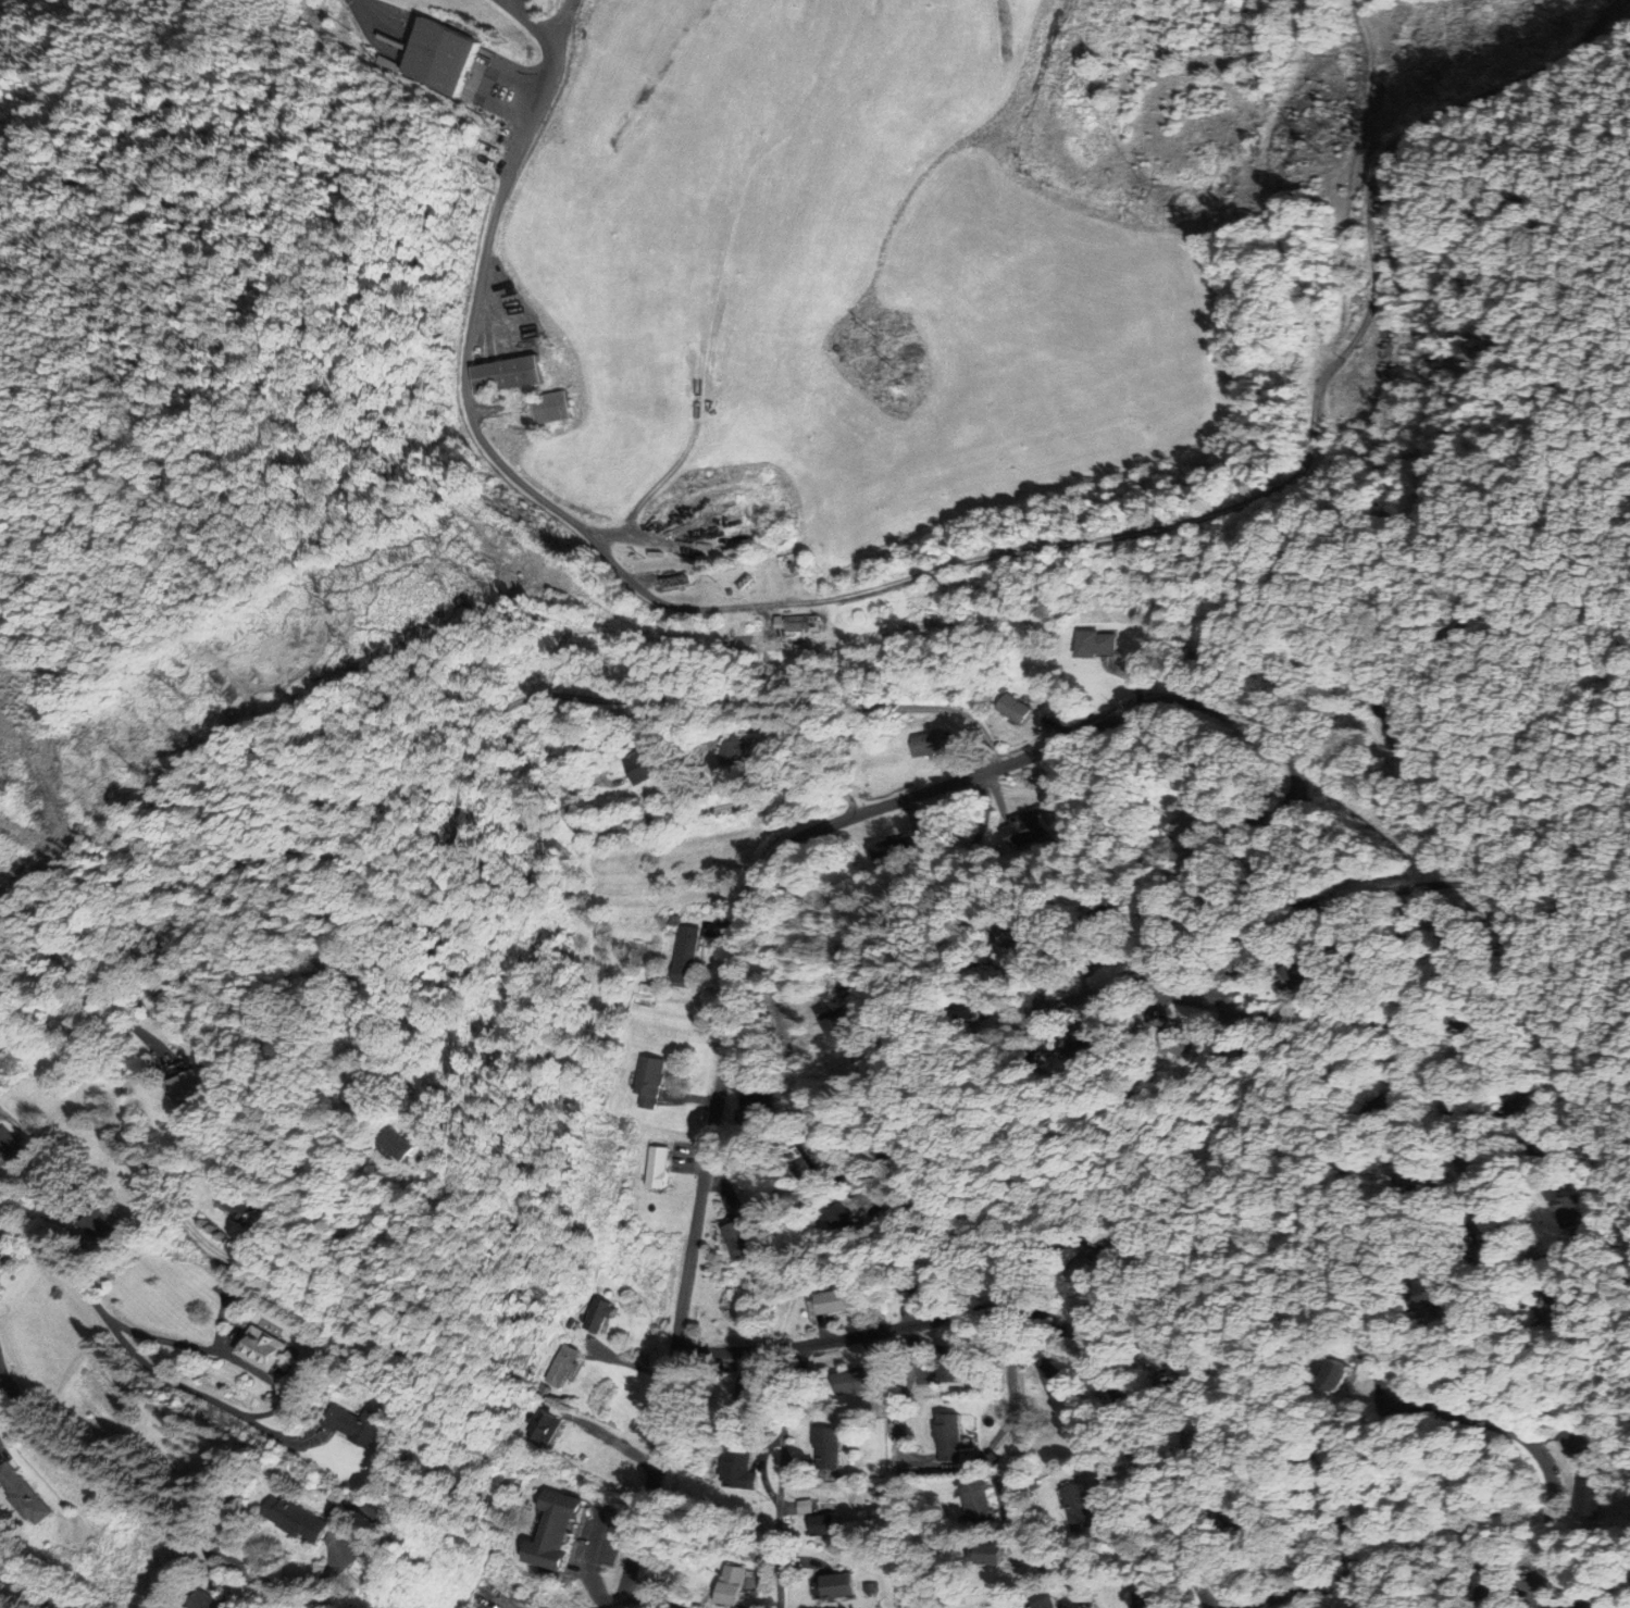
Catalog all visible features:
road: (561, 20)
building: (443, 55)
road: (552, 64)
power tower: (1330, 112)
road: (1381, 116)
road: (1413, 134)
road: (1520, 205)
power tower: (879, 338)
road: (1592, 341)
building: (507, 374)
building: (552, 407)
park: (1440, 426)
road: (1339, 475)
building: (724, 519)
building: (672, 583)
road: (1435, 600)
road: (776, 606)
power tower: (361, 610)
building: (1088, 645)
road: (1310, 653)
road: (1132, 677)
power tower: (192, 686)
road: (1220, 693)
road: (544, 696)
building: (1008, 710)
road: (788, 725)
road: (1062, 728)
building: (930, 744)
building: (736, 751)
building: (640, 763)
road: (959, 765)
road: (995, 766)
quarry: (28, 775)
road: (998, 796)
road: (1223, 810)
road: (53, 811)
road: (913, 813)
road: (687, 814)
building: (1182, 827)
building: (1028, 828)
building: (896, 851)
road: (920, 887)
road: (1297, 897)
road: (1424, 913)
building: (674, 920)
building: (1106, 920)
road: (723, 930)
building: (1024, 934)
road: (1235, 934)
road: (1283, 944)
building: (687, 955)
building: (1298, 972)
building: (331, 981)
road: (1096, 994)
building: (979, 1010)
road: (40, 1029)
building: (850, 1030)
building: (834, 1031)
road: (1413, 1033)
building: (1090, 1047)
building: (650, 1080)
building: (196, 1083)
building: (376, 1089)
building: (362, 1090)
road: (689, 1100)
building: (880, 1107)
building: (754, 1114)
building: (411, 1142)
building: (8, 1144)
building: (398, 1144)
road: (689, 1159)
building: (900, 1161)
building: (795, 1166)
building: (808, 1166)
building: (658, 1167)
road: (845, 1169)
road: (721, 1193)
building: (239, 1204)
building: (231, 1207)
building: (1572, 1213)
building: (847, 1219)
building: (828, 1221)
building: (100, 1226)
road: (196, 1232)
building: (743, 1239)
building: (0, 1256)
building: (1086, 1269)
building: (923, 1277)
building: (843, 1300)
road: (1532, 1306)
road: (911, 1310)
road: (1030, 1310)
building: (599, 1314)
road: (822, 1322)
building: (570, 1323)
road: (127, 1345)
road: (1607, 1345)
building: (264, 1348)
road: (869, 1349)
building: (1162, 1351)
road: (627, 1362)
building: (951, 1362)
building: (564, 1364)
road: (1379, 1373)
road: (923, 1374)
building: (1062, 1375)
building: (1342, 1375)
road: (906, 1378)
building: (1324, 1379)
building: (858, 1381)
road: (1159, 1382)
road: (1170, 1384)
building: (751, 1397)
road: (1162, 1421)
building: (358, 1424)
building: (547, 1428)
building: (951, 1436)
building: (1211, 1436)
road: (1567, 1438)
road: (613, 1442)
building: (830, 1447)
building: (1339, 1455)
road: (1542, 1457)
road: (908, 1458)
road: (1118, 1463)
building: (745, 1471)
road: (783, 1475)
building: (24, 1492)
building: (1591, 1494)
road: (130, 1497)
building: (980, 1499)
building: (1081, 1507)
building: (1237, 1511)
building: (297, 1517)
road: (1340, 1520)
building: (828, 1525)
building: (556, 1529)
parking lot: (597, 1540)
road: (598, 1544)
road: (1252, 1548)
building: (991, 1554)
road: (1050, 1555)
road: (1527, 1570)
building: (734, 1584)
building: (1495, 1584)
building: (838, 1585)
road: (33, 1588)
road: (1360, 1591)
road: (597, 1592)
road: (1298, 1592)
road: (654, 1595)
building: (1148, 1597)
road: (637, 1598)
road: (1304, 1599)
building: (207, 1600)
building: (1046, 1604)
building: (1057, 1604)

